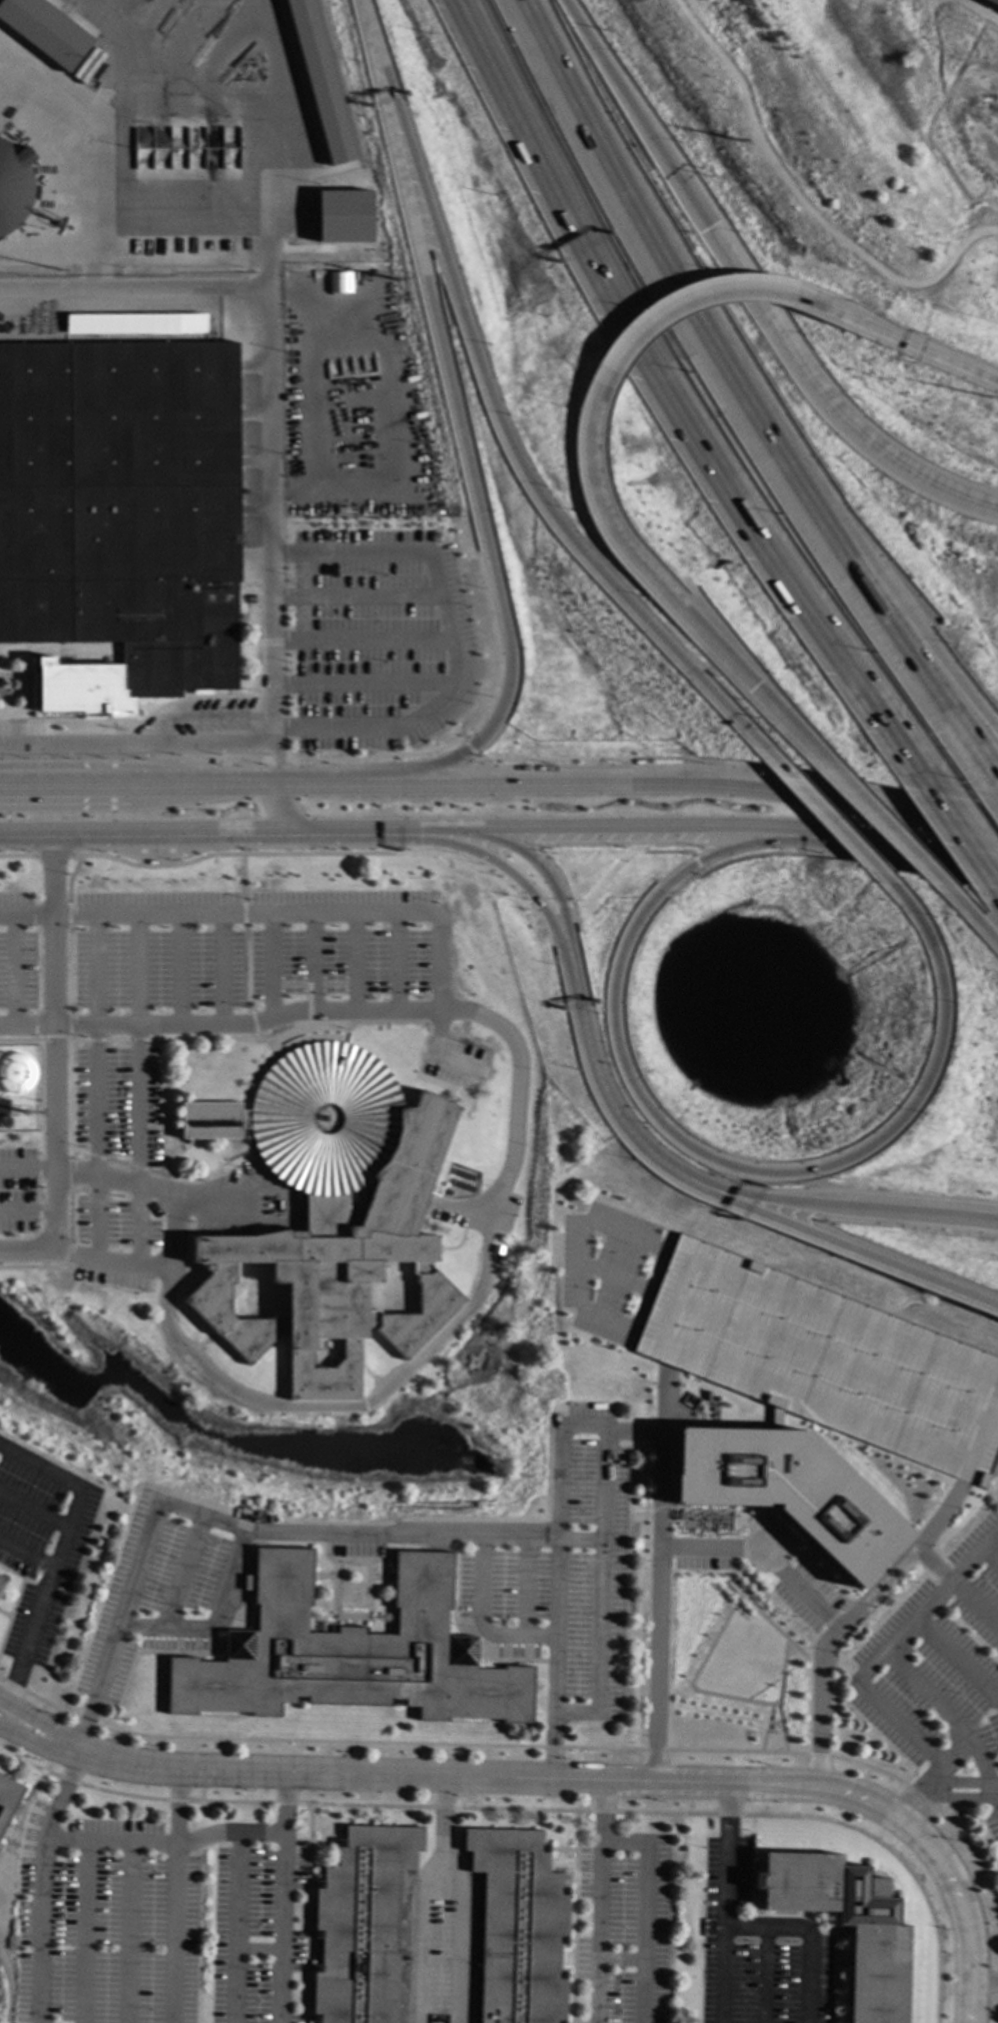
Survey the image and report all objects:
building: (990, 3)
road: (361, 9)
building: (42, 32)
building: (317, 81)
road: (941, 101)
power tower: (737, 141)
road: (856, 157)
road: (933, 160)
building: (12, 187)
silo: (12, 187)
road: (266, 190)
road: (803, 204)
building: (340, 216)
power tower: (59, 271)
power tower: (395, 280)
building: (339, 283)
road: (753, 285)
road: (134, 288)
road: (663, 289)
road: (685, 299)
road: (895, 338)
power tower: (983, 401)
road: (667, 408)
road: (500, 429)
road: (460, 444)
building: (121, 507)
road: (272, 507)
road: (661, 593)
road: (451, 636)
road: (926, 654)
road: (926, 681)
road: (276, 738)
road: (138, 745)
road: (468, 748)
road: (234, 761)
road: (737, 764)
road: (277, 765)
road: (320, 783)
road: (241, 784)
road: (103, 785)
road: (574, 785)
road: (851, 802)
road: (282, 807)
road: (829, 820)
road: (957, 823)
road: (640, 826)
road: (422, 830)
road: (248, 831)
road: (339, 831)
road: (154, 832)
road: (49, 834)
road: (964, 839)
road: (645, 840)
road: (407, 842)
road: (901, 843)
road: (663, 852)
road: (243, 854)
road: (912, 854)
road: (17, 856)
road: (52, 856)
road: (846, 860)
road: (695, 862)
building: (150, 863)
road: (538, 865)
road: (498, 866)
road: (242, 880)
road: (530, 906)
road: (243, 915)
road: (290, 915)
road: (26, 917)
road: (984, 931)
parking lot: (346, 943)
parking lot: (157, 950)
road: (396, 962)
road: (310, 963)
road: (354, 963)
road: (270, 967)
road: (246, 969)
road: (180, 970)
road: (219, 970)
road: (254, 1027)
road: (55, 1043)
road: (95, 1045)
road: (137, 1049)
water tower: (0, 1079)
road: (604, 1090)
parking lot: (119, 1104)
building: (3, 1108)
road: (698, 1153)
road: (511, 1171)
road: (126, 1180)
road: (850, 1206)
building: (329, 1211)
parking lot: (113, 1243)
road: (850, 1248)
road: (26, 1252)
road: (111, 1262)
parking lot: (609, 1272)
building: (823, 1361)
parking lot: (823, 1361)
road: (663, 1398)
road: (608, 1430)
building: (789, 1486)
road: (34, 1508)
road: (151, 1517)
road: (294, 1534)
road: (58, 1552)
road: (26, 1554)
road: (903, 1554)
road: (764, 1556)
road: (989, 1556)
road: (183, 1571)
parking lot: (543, 1574)
building: (0, 1580)
road: (607, 1601)
road: (745, 1601)
road: (974, 1603)
road: (475, 1620)
building: (349, 1654)
road: (956, 1659)
road: (875, 1660)
parking lot: (938, 1660)
park: (733, 1664)
road: (690, 1680)
road: (96, 1687)
road: (777, 1687)
road: (814, 1702)
road: (944, 1712)
road: (41, 1723)
road: (766, 1728)
road: (37, 1747)
road: (956, 1752)
road: (339, 1774)
road: (938, 1782)
road: (993, 1793)
road: (945, 1797)
building: (6, 1799)
road: (863, 1801)
road: (281, 1803)
parking lot: (992, 1829)
road: (207, 1835)
road: (109, 1842)
road: (727, 1856)
road: (645, 1879)
road: (40, 1884)
road: (175, 1896)
road: (460, 1897)
road: (236, 1906)
building: (360, 1925)
building: (846, 1925)
building: (519, 1927)
road: (280, 1928)
road: (83, 1932)
road: (129, 1933)
road: (598, 1933)
road: (419, 1935)
road: (808, 1936)
road: (723, 1975)
road: (763, 1975)
road: (983, 1982)
road: (8, 1989)

